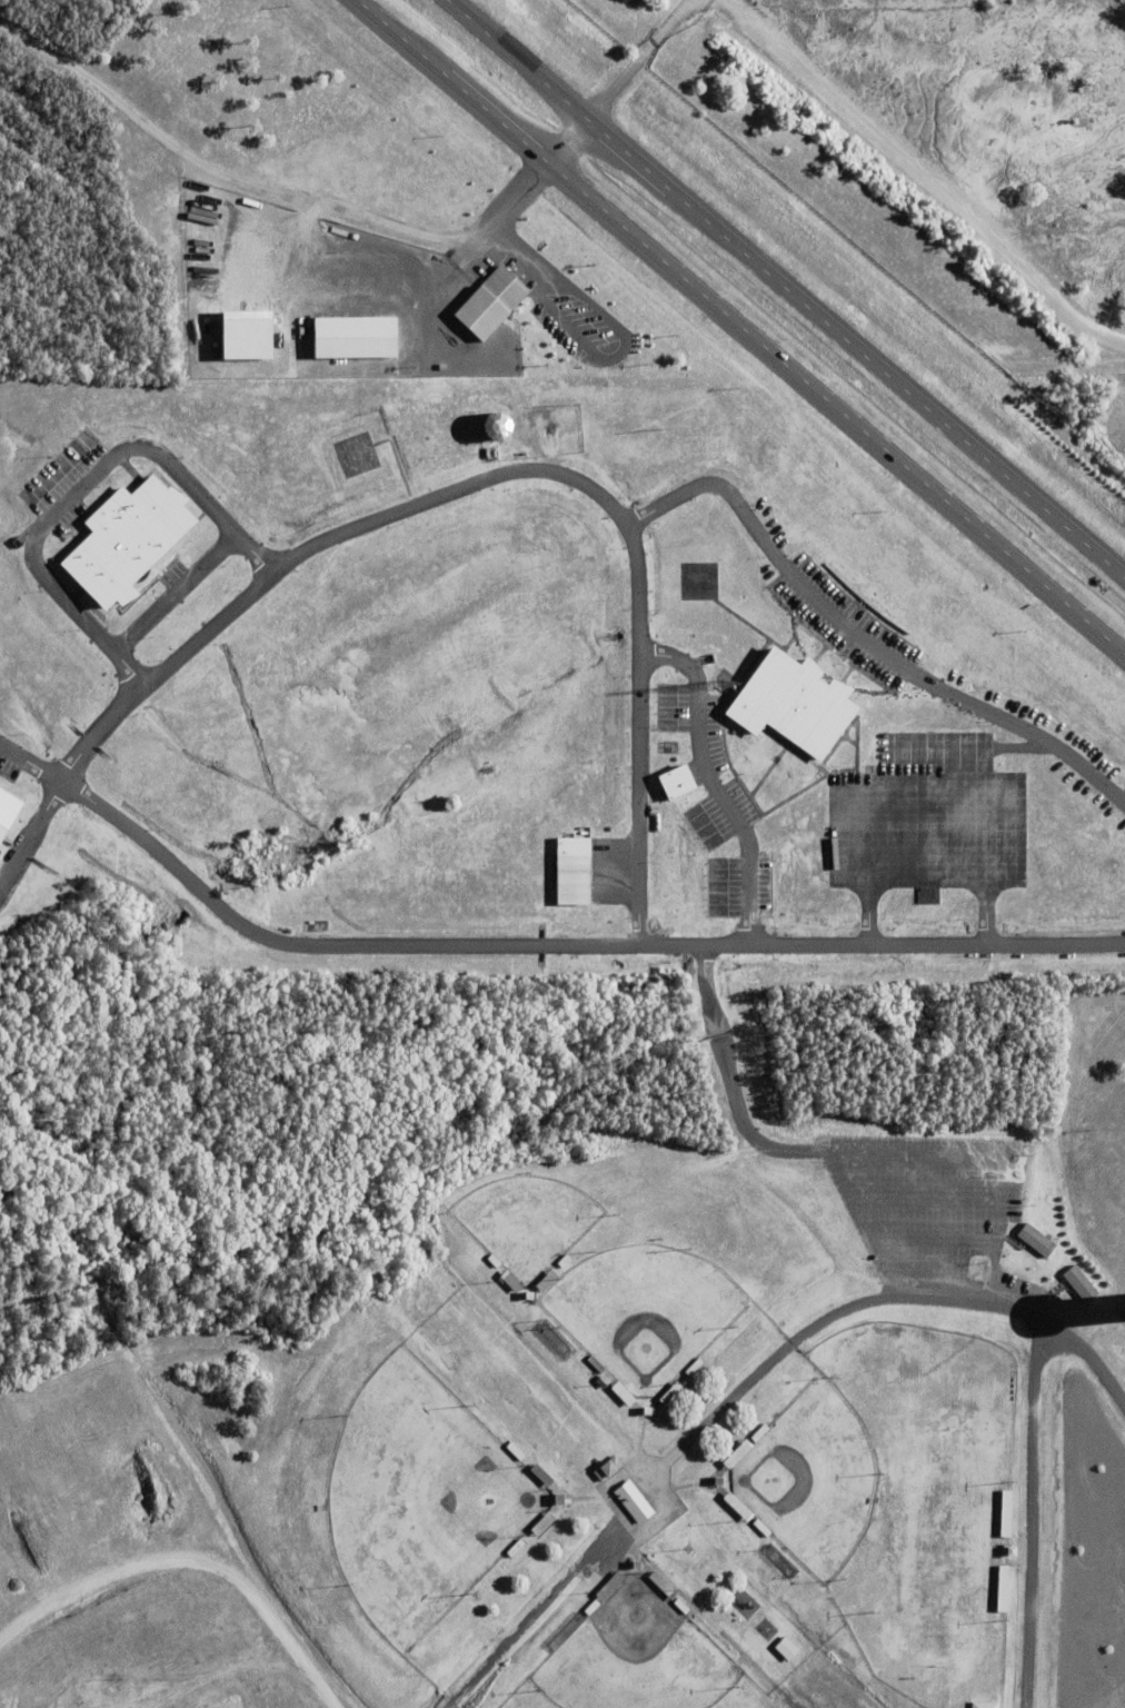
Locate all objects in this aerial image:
road: (614, 81)
road: (494, 222)
road: (785, 289)
building: (492, 301)
road: (740, 326)
building: (248, 335)
building: (356, 337)
road: (507, 470)
road: (78, 486)
building: (123, 537)
road: (170, 590)
road: (859, 635)
building: (788, 703)
road: (709, 779)
building: (678, 783)
building: (7, 806)
road: (30, 832)
building: (574, 872)
road: (529, 944)
road: (859, 1191)
parking lot: (926, 1204)
building: (525, 1220)
building: (1033, 1238)
building: (490, 1260)
building: (560, 1260)
building: (1076, 1281)
building: (526, 1293)
road: (884, 1297)
park: (643, 1308)
building: (593, 1362)
building: (690, 1366)
building: (599, 1380)
building: (619, 1391)
building: (668, 1391)
building: (644, 1409)
building: (756, 1431)
building: (511, 1449)
building: (734, 1452)
building: (604, 1467)
building: (538, 1473)
park: (810, 1477)
building: (715, 1479)
park: (417, 1497)
building: (556, 1497)
building: (637, 1500)
building: (735, 1505)
road: (1028, 1513)
building: (539, 1521)
building: (758, 1527)
building: (512, 1546)
building: (1007, 1548)
building: (633, 1562)
building: (659, 1582)
building: (606, 1585)
building: (678, 1605)
building: (588, 1606)
building: (784, 1647)
park: (633, 1655)
building: (980, 1704)

